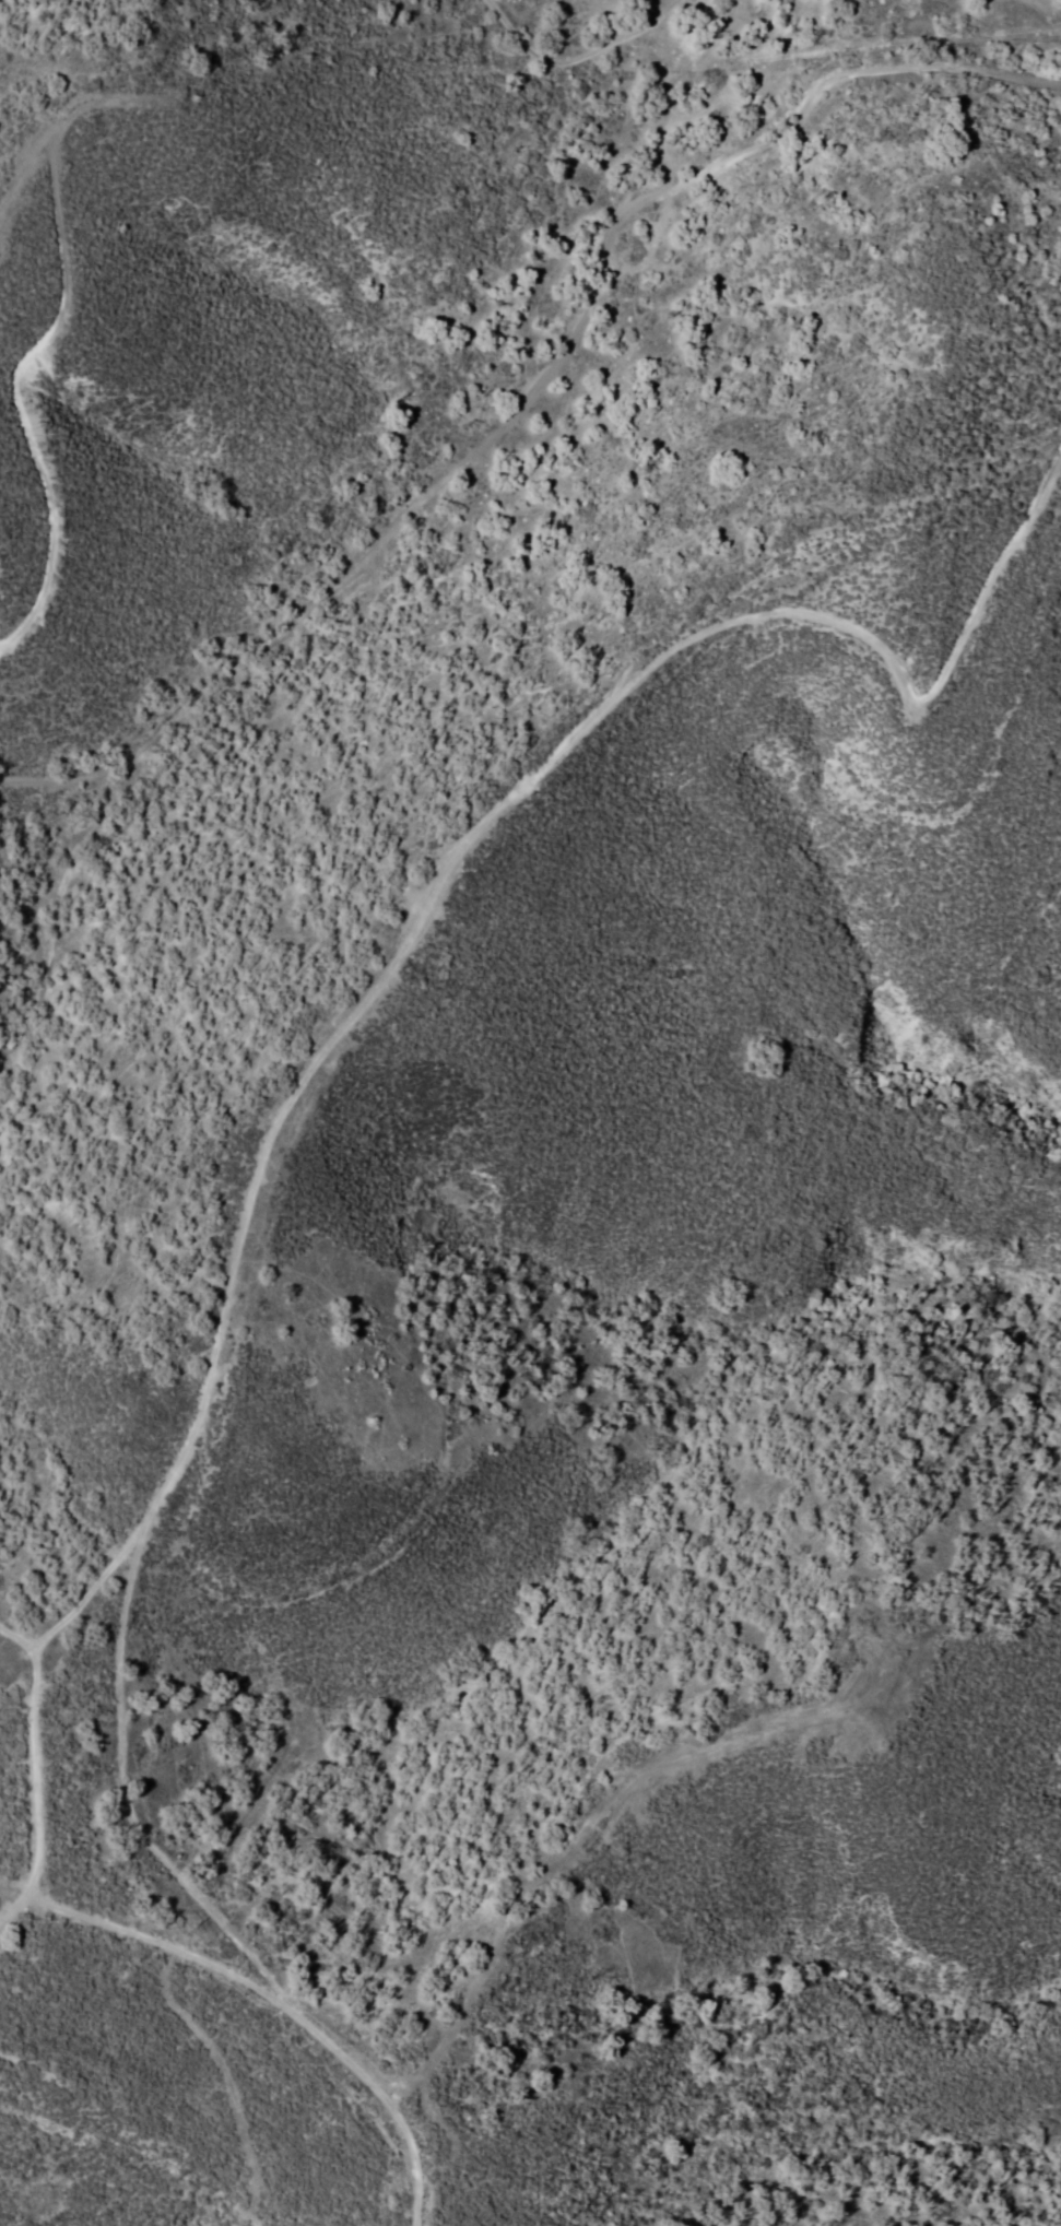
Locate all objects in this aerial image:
road: (577, 61)
road: (447, 474)
road: (270, 1992)

